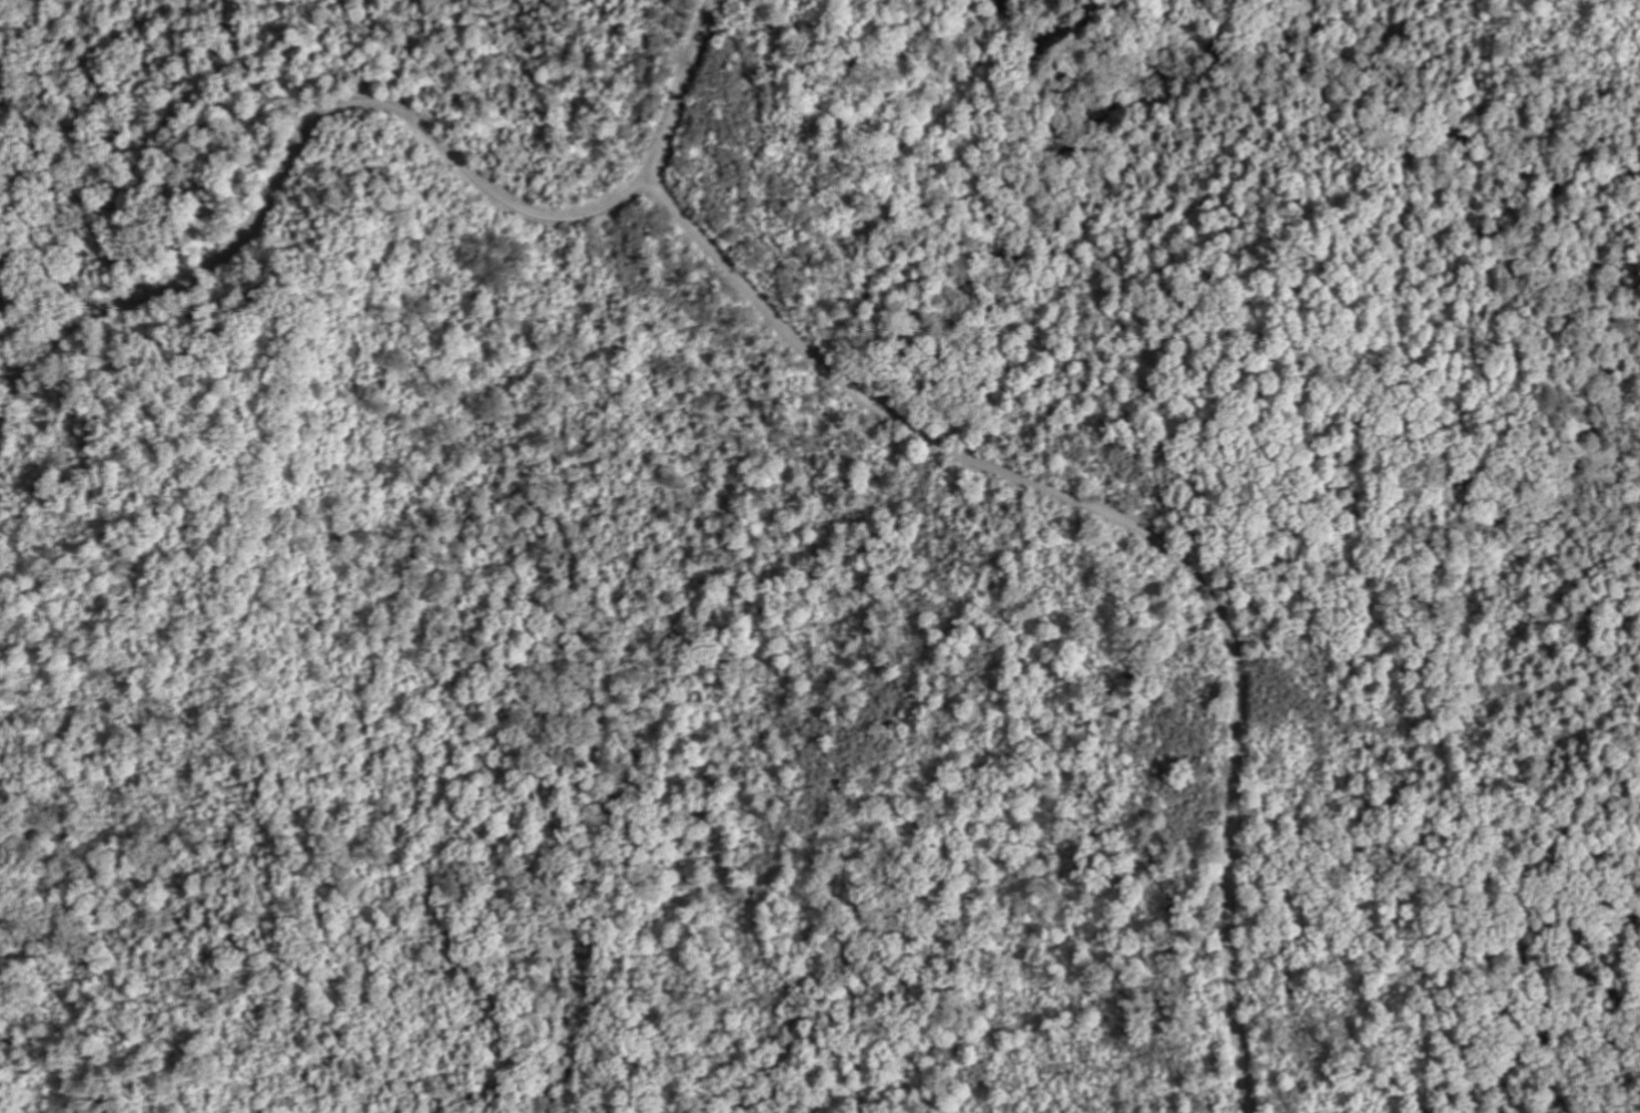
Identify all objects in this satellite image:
road: (684, 90)
road: (296, 164)
road: (1142, 530)

